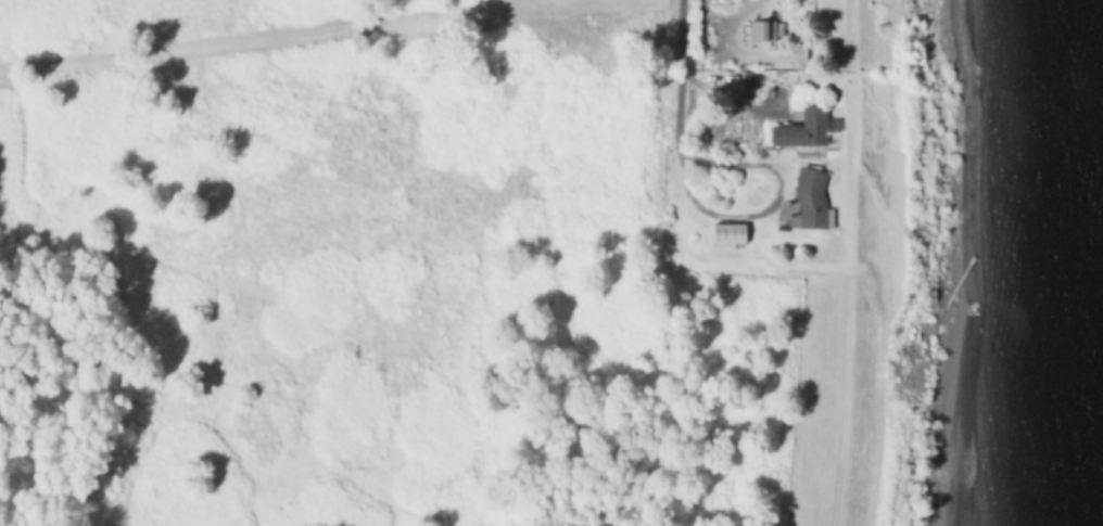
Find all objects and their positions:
building: (766, 30)
building: (798, 56)
road: (680, 74)
road: (713, 76)
building: (751, 79)
road: (723, 95)
building: (806, 131)
road: (769, 203)
building: (813, 203)
building: (732, 233)

